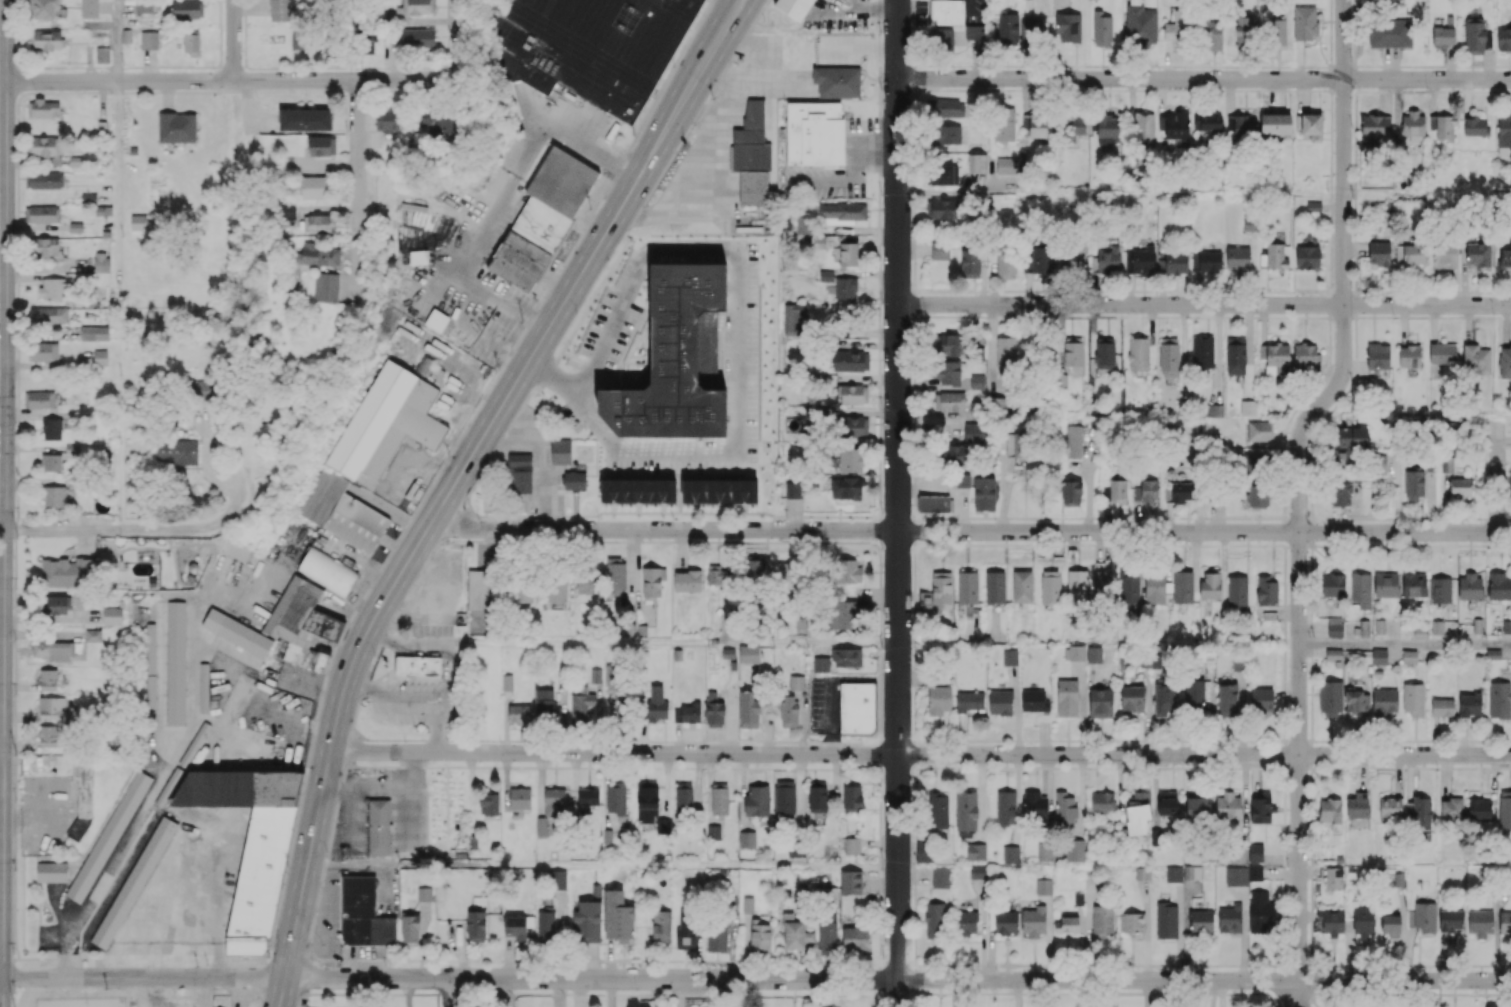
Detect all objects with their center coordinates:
building: (1382, 2)
building: (144, 6)
building: (417, 6)
building: (794, 7)
building: (187, 8)
building: (42, 10)
building: (89, 10)
building: (279, 10)
building: (947, 11)
building: (1305, 22)
building: (1140, 24)
building: (1008, 26)
building: (1068, 27)
building: (1176, 27)
building: (1102, 29)
building: (1031, 30)
building: (974, 31)
building: (1245, 32)
road: (719, 33)
building: (1277, 33)
building: (1389, 33)
road: (459, 35)
building: (1211, 35)
building: (1443, 36)
building: (1476, 36)
building: (418, 37)
building: (946, 38)
building: (1504, 38)
road: (117, 40)
building: (149, 40)
road: (233, 40)
building: (297, 40)
building: (365, 40)
building: (45, 41)
building: (191, 43)
building: (588, 47)
building: (101, 56)
road: (1203, 78)
road: (231, 80)
building: (837, 81)
building: (44, 107)
building: (945, 107)
building: (304, 119)
building: (387, 121)
building: (1207, 121)
building: (438, 122)
building: (1004, 123)
building: (1275, 123)
building: (1412, 123)
building: (1039, 125)
building: (1074, 125)
building: (1176, 125)
building: (1244, 125)
building: (1310, 125)
building: (1373, 126)
building: (1442, 126)
building: (1476, 126)
building: (177, 127)
building: (1107, 128)
building: (1143, 128)
building: (814, 133)
building: (951, 134)
building: (1504, 135)
building: (751, 139)
building: (322, 145)
building: (47, 149)
building: (976, 164)
building: (1007, 165)
road: (119, 174)
building: (943, 174)
road: (357, 175)
building: (46, 180)
building: (314, 186)
building: (753, 187)
building: (88, 197)
road: (499, 199)
building: (940, 209)
building: (103, 210)
building: (842, 210)
building: (286, 211)
building: (41, 213)
building: (542, 218)
building: (836, 221)
building: (140, 222)
building: (318, 223)
building: (1249, 223)
building: (818, 242)
building: (44, 246)
building: (940, 250)
building: (1410, 252)
building: (846, 253)
building: (1379, 253)
building: (320, 254)
building: (1445, 254)
building: (1478, 254)
building: (1074, 255)
building: (1276, 256)
building: (1307, 256)
building: (1505, 256)
building: (418, 257)
building: (1237, 257)
building: (1039, 259)
building: (1106, 260)
building: (1139, 260)
building: (1206, 261)
building: (101, 262)
building: (1175, 262)
building: (970, 263)
building: (1006, 263)
road: (735, 265)
building: (826, 275)
building: (326, 286)
building: (52, 288)
building: (846, 288)
road: (1204, 304)
building: (48, 315)
building: (436, 320)
building: (94, 332)
building: (952, 344)
building: (44, 351)
building: (1202, 352)
building: (1006, 353)
building: (1104, 353)
building: (1138, 353)
building: (1442, 353)
building: (1305, 354)
building: (1274, 355)
building: (1409, 355)
building: (1235, 356)
building: (1378, 356)
building: (100, 357)
building: (1070, 357)
building: (1169, 357)
building: (1476, 358)
building: (850, 360)
building: (1505, 361)
building: (947, 372)
building: (977, 381)
building: (1061, 381)
building: (853, 394)
building: (39, 399)
building: (949, 401)
building: (997, 404)
building: (1247, 407)
building: (1214, 411)
road: (238, 415)
building: (387, 422)
building: (852, 426)
building: (52, 429)
building: (1260, 430)
building: (975, 431)
building: (1351, 436)
building: (1073, 441)
building: (1015, 444)
building: (176, 451)
building: (560, 451)
building: (954, 454)
building: (852, 459)
building: (519, 461)
building: (1255, 461)
building: (51, 462)
building: (1379, 464)
road: (1496, 477)
building: (574, 480)
building: (962, 480)
building: (521, 481)
road: (1299, 483)
building: (1414, 484)
building: (1461, 487)
road: (5, 488)
building: (846, 488)
building: (792, 489)
building: (1117, 489)
building: (1146, 491)
building: (1177, 491)
building: (984, 493)
building: (1072, 493)
building: (1341, 494)
building: (53, 496)
building: (1258, 496)
road: (443, 503)
road: (897, 503)
building: (933, 503)
building: (341, 511)
road: (116, 529)
road: (970, 532)
building: (327, 570)
building: (846, 570)
building: (66, 571)
building: (616, 575)
building: (717, 575)
building: (754, 576)
building: (785, 577)
building: (687, 580)
building: (588, 581)
building: (652, 581)
building: (1103, 583)
building: (1333, 584)
building: (1414, 584)
building: (1077, 585)
building: (1210, 585)
building: (1386, 585)
building: (995, 586)
building: (1022, 586)
building: (1050, 586)
building: (1183, 586)
building: (1470, 586)
building: (1499, 586)
building: (967, 587)
building: (556, 588)
building: (1155, 588)
building: (1128, 589)
building: (1360, 589)
building: (1440, 589)
building: (1267, 590)
building: (522, 591)
building: (936, 593)
building: (1237, 594)
building: (477, 602)
building: (58, 604)
building: (112, 615)
building: (842, 615)
building: (302, 620)
building: (1335, 627)
building: (1437, 627)
building: (1364, 628)
building: (237, 632)
building: (93, 635)
road: (1405, 645)
building: (53, 650)
building: (1074, 652)
building: (1093, 652)
building: (728, 653)
building: (1493, 653)
building: (748, 654)
building: (1333, 654)
building: (848, 656)
building: (1379, 656)
building: (1409, 656)
building: (1156, 661)
building: (175, 662)
building: (1237, 663)
building: (820, 664)
building: (417, 666)
building: (150, 672)
building: (595, 675)
building: (612, 675)
building: (562, 677)
building: (48, 679)
building: (507, 682)
building: (796, 682)
building: (203, 687)
building: (1194, 694)
building: (1227, 694)
building: (1164, 697)
building: (1067, 698)
building: (1132, 698)
building: (1330, 698)
building: (939, 699)
building: (1261, 699)
building: (1413, 699)
building: (1499, 699)
building: (1034, 700)
building: (968, 701)
building: (1000, 702)
building: (1384, 702)
building: (656, 703)
building: (1100, 703)
building: (581, 704)
building: (1470, 704)
building: (544, 705)
building: (1356, 705)
building: (52, 707)
building: (625, 707)
building: (856, 707)
building: (1442, 707)
building: (748, 709)
building: (714, 710)
building: (788, 711)
building: (519, 713)
building: (686, 713)
building: (48, 735)
building: (195, 742)
road: (1, 752)
road: (920, 754)
building: (170, 786)
building: (588, 796)
building: (784, 796)
building: (817, 796)
building: (852, 797)
building: (520, 798)
building: (683, 798)
road: (149, 800)
building: (616, 800)
building: (756, 800)
building: (554, 801)
building: (719, 801)
building: (647, 802)
building: (1102, 802)
building: (1167, 802)
building: (488, 804)
building: (1035, 805)
building: (1357, 805)
building: (1228, 806)
building: (1197, 807)
building: (1006, 808)
building: (1260, 808)
building: (1451, 808)
building: (1065, 809)
building: (1389, 809)
building: (1479, 809)
building: (1504, 809)
building: (937, 810)
building: (966, 810)
building: (1330, 810)
building: (1421, 811)
building: (1137, 812)
building: (662, 825)
building: (378, 826)
building: (541, 826)
building: (713, 832)
building: (108, 836)
building: (747, 838)
building: (249, 842)
building: (851, 845)
building: (1075, 849)
building: (795, 851)
building: (924, 851)
building: (976, 851)
building: (1044, 851)
building: (1255, 852)
building: (1011, 854)
building: (1238, 855)
building: (51, 871)
building: (1194, 871)
building: (1255, 872)
building: (1173, 873)
building: (1236, 875)
building: (940, 877)
building: (557, 879)
building: (978, 879)
building: (1332, 879)
building: (133, 881)
building: (850, 882)
building: (1043, 886)
building: (358, 894)
building: (424, 894)
building: (748, 904)
building: (1261, 912)
building: (588, 917)
building: (1229, 917)
building: (1424, 917)
building: (1166, 919)
building: (1450, 919)
building: (934, 920)
building: (1033, 920)
building: (1201, 920)
building: (623, 921)
building: (1006, 921)
building: (1102, 921)
building: (1329, 921)
building: (1363, 921)
building: (965, 922)
building: (1131, 922)
building: (1480, 922)
building: (1505, 922)
building: (545, 924)
building: (1066, 924)
building: (1390, 924)
building: (476, 926)
building: (410, 927)
building: (516, 927)
building: (661, 927)
building: (368, 930)
building: (686, 930)
building: (797, 933)
building: (716, 936)
building: (827, 937)
building: (760, 938)
building: (855, 939)
road: (1, 977)
road: (143, 978)
road: (591, 978)
road: (1097, 980)
road: (1403, 981)
road: (1294, 990)
road: (3, 992)
road: (157, 992)
road: (281, 992)
road: (449, 992)
road: (1290, 1003)
road: (1296, 1003)

